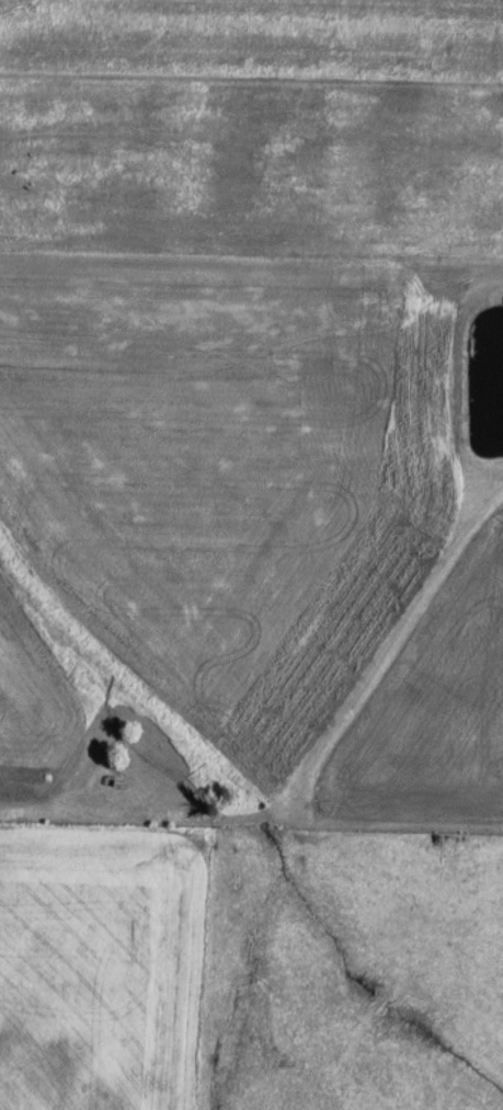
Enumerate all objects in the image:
road: (414, 828)

